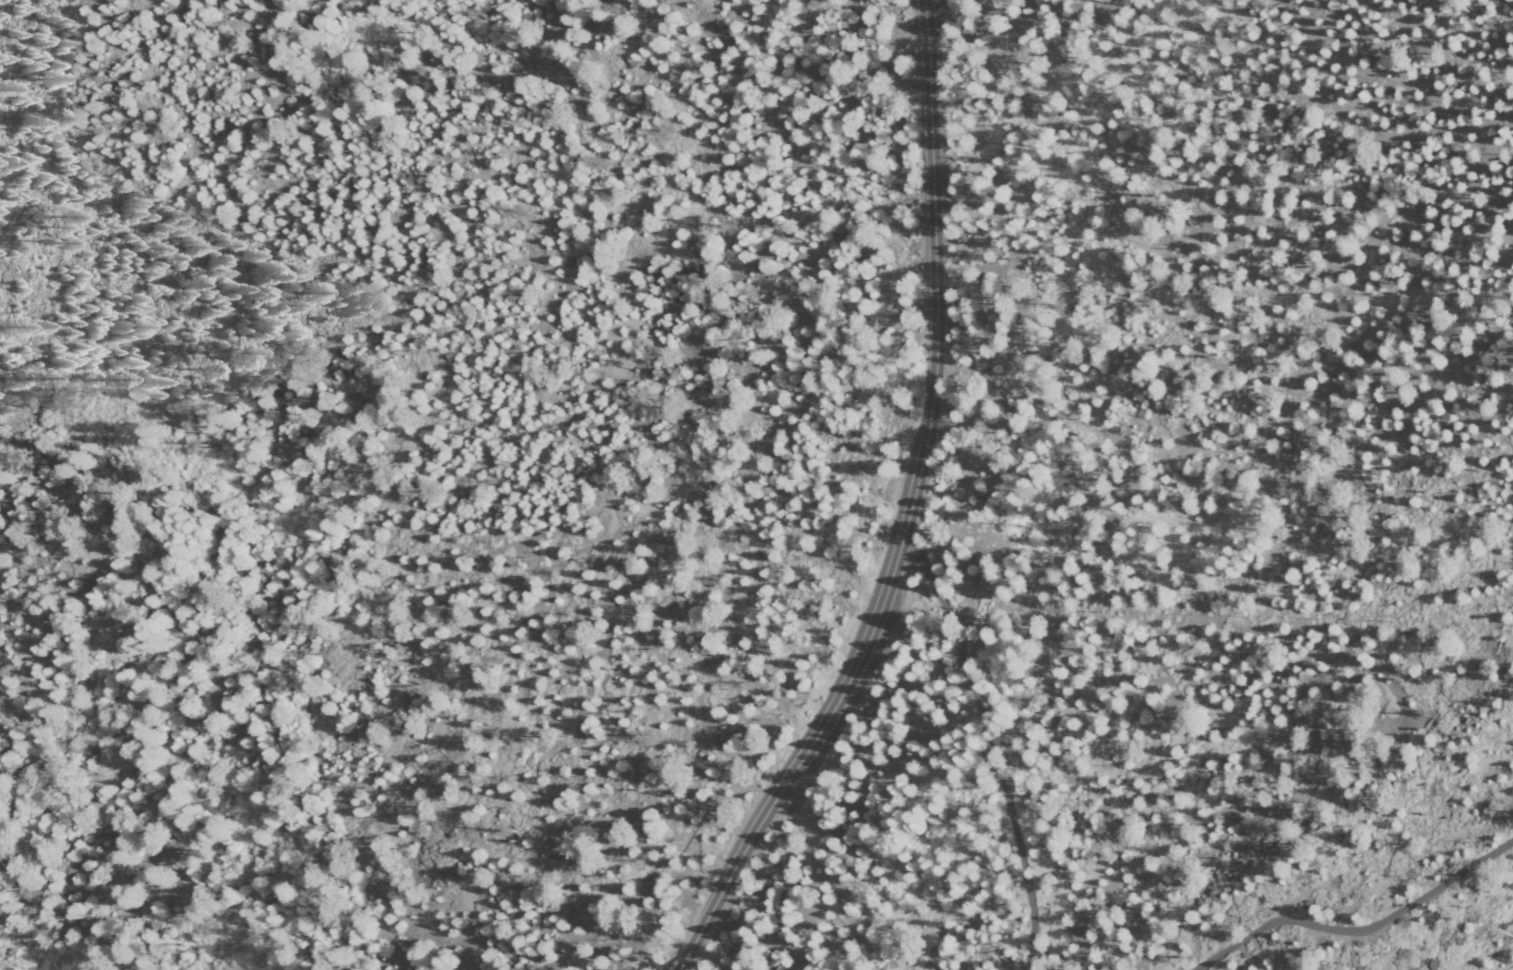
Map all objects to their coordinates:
road: (908, 513)
road: (988, 746)
road: (1356, 925)

